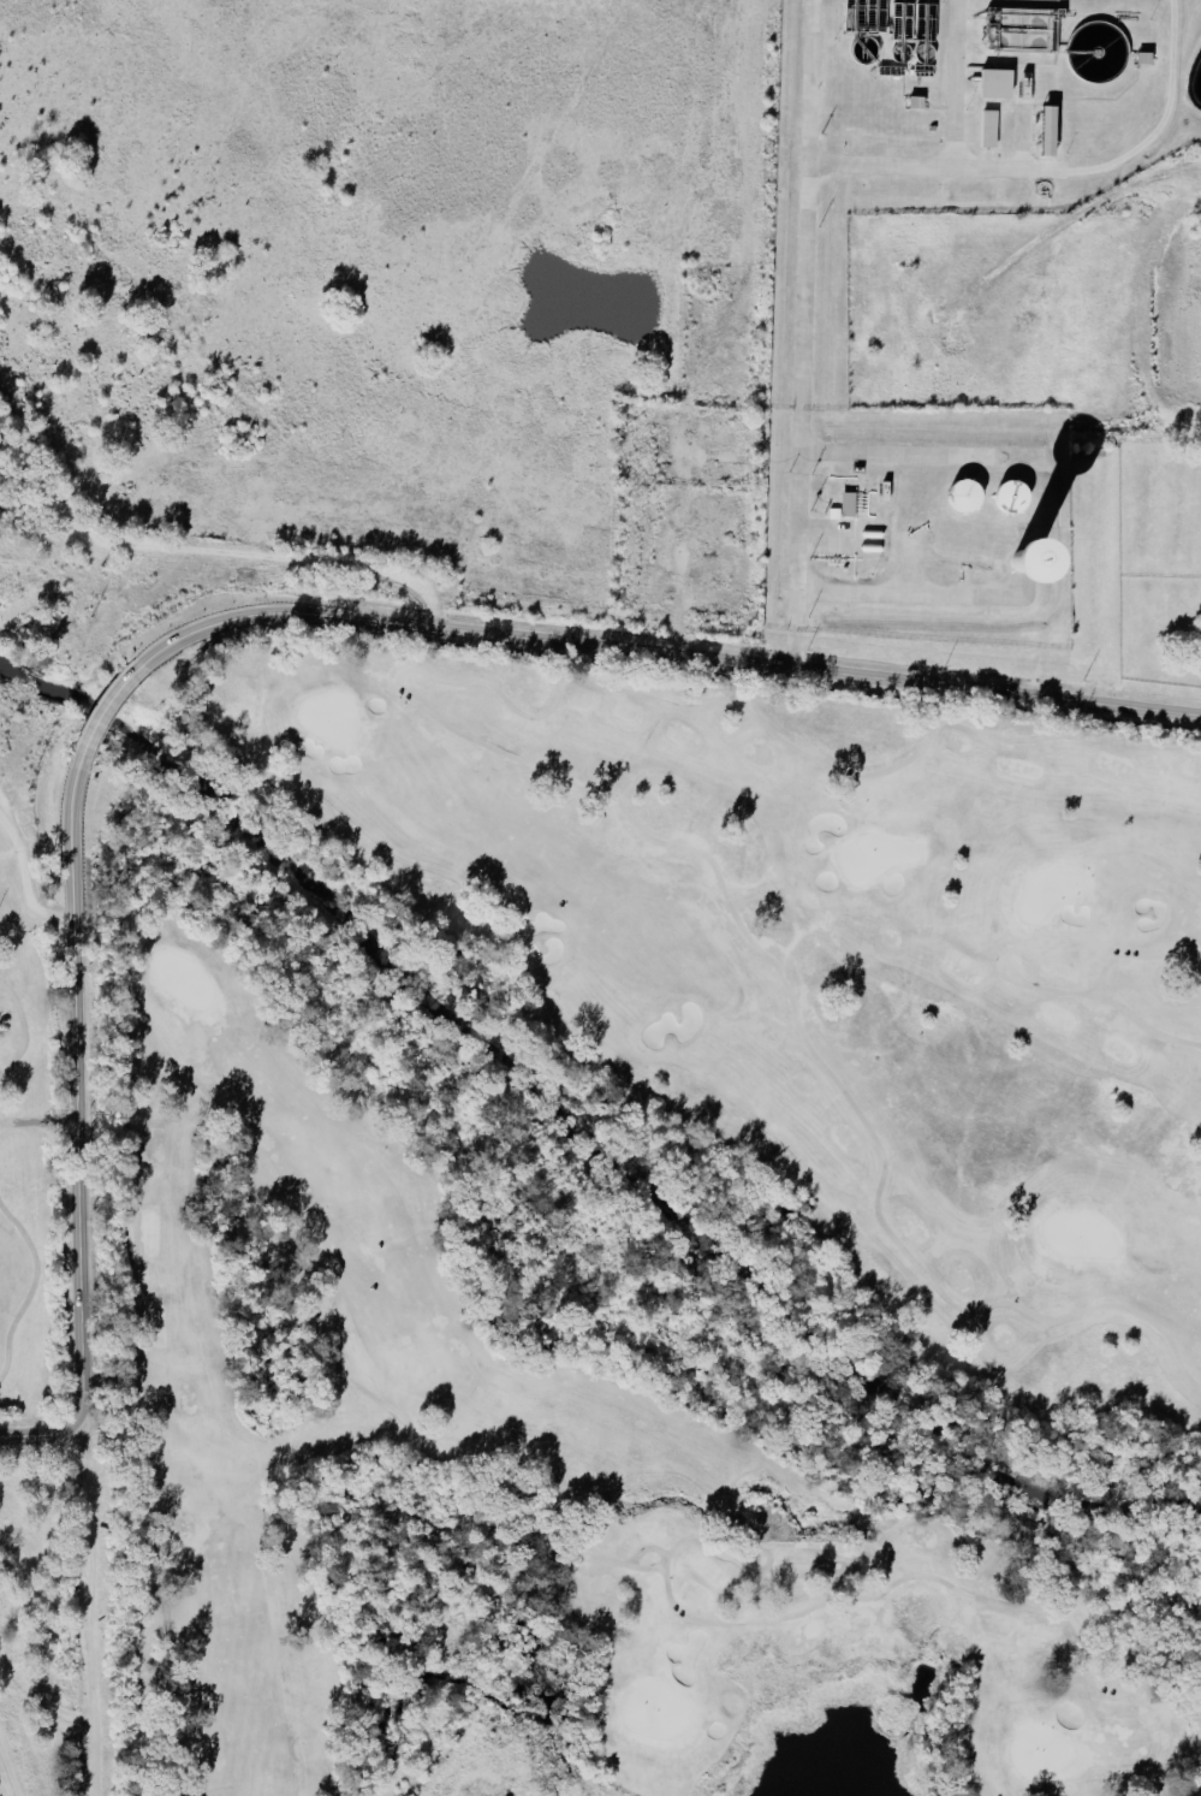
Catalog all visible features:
building: (992, 83)
building: (986, 129)
building: (1041, 131)
road: (1126, 156)
road: (955, 159)
road: (802, 333)
road: (874, 454)
building: (1004, 496)
building: (846, 505)
road: (897, 595)
road: (660, 653)
road: (101, 711)
park: (816, 970)
road: (25, 1029)
road: (1, 1074)
river: (588, 1120)
road: (76, 1130)
park: (32, 1173)
road: (34, 1286)
park: (517, 1489)
road: (94, 1607)
road: (2, 1785)

